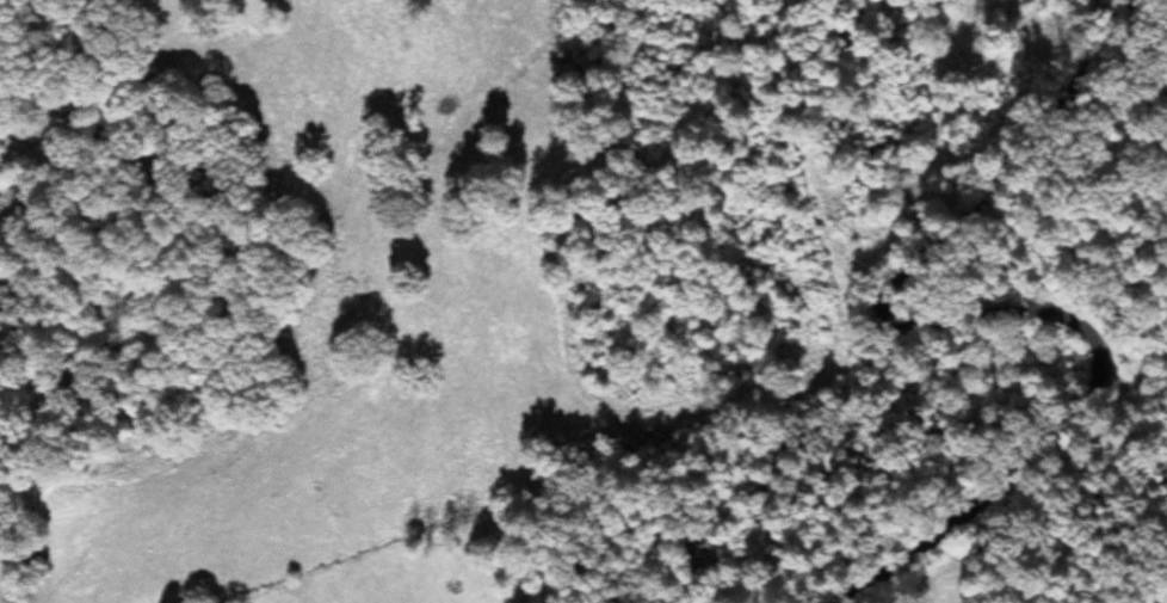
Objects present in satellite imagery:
road: (972, 316)

